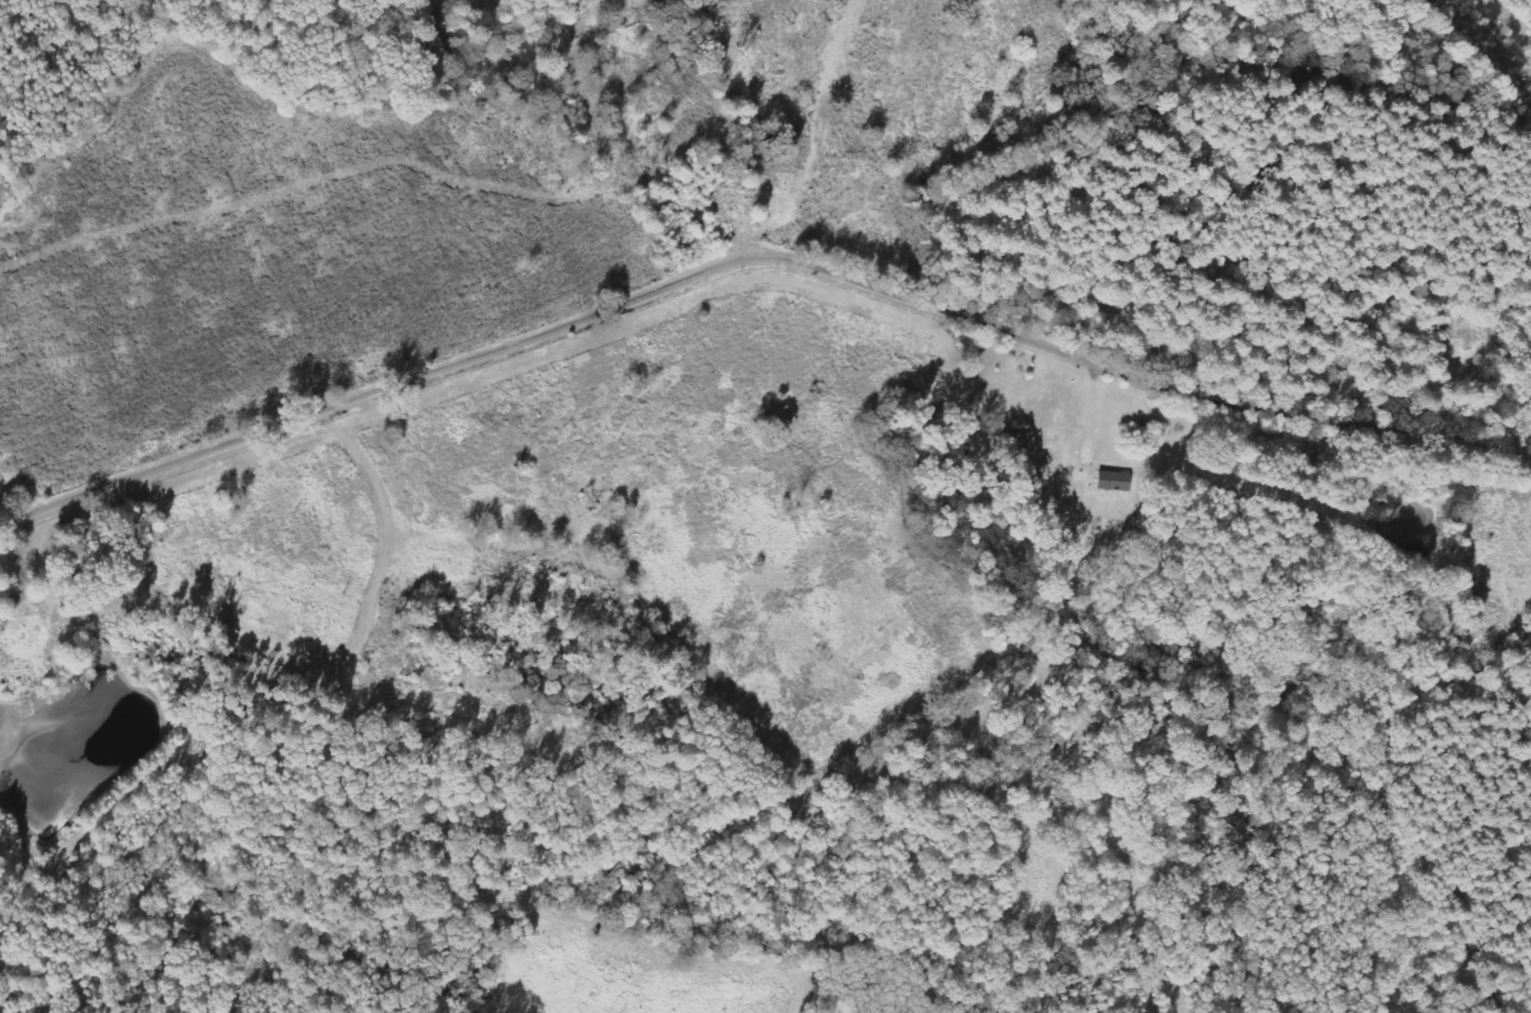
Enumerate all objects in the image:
road: (761, 271)
building: (1114, 480)

